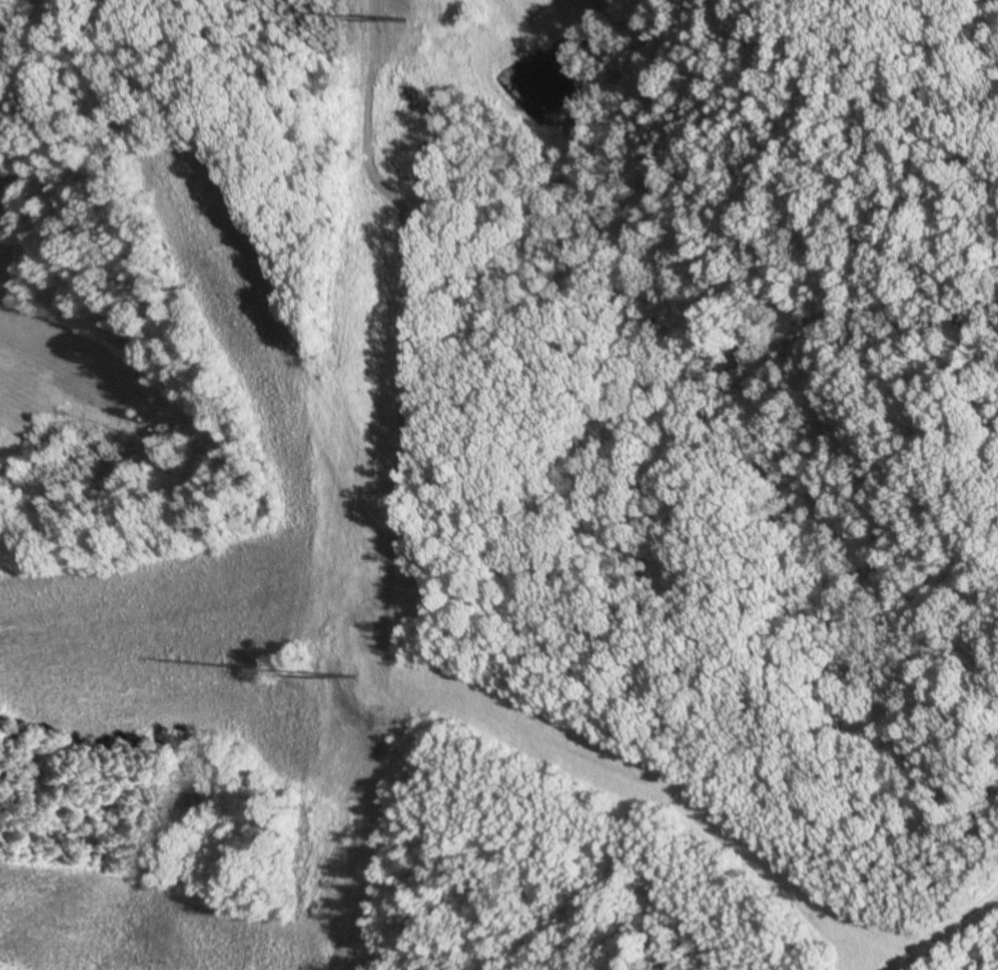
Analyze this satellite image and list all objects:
power tower: (407, 21)
power tower: (350, 677)

